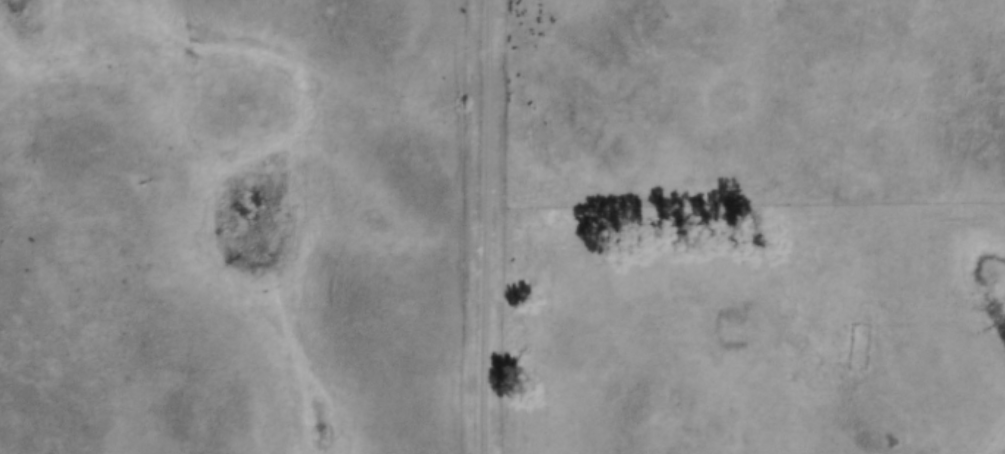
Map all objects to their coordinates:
road: (483, 227)

